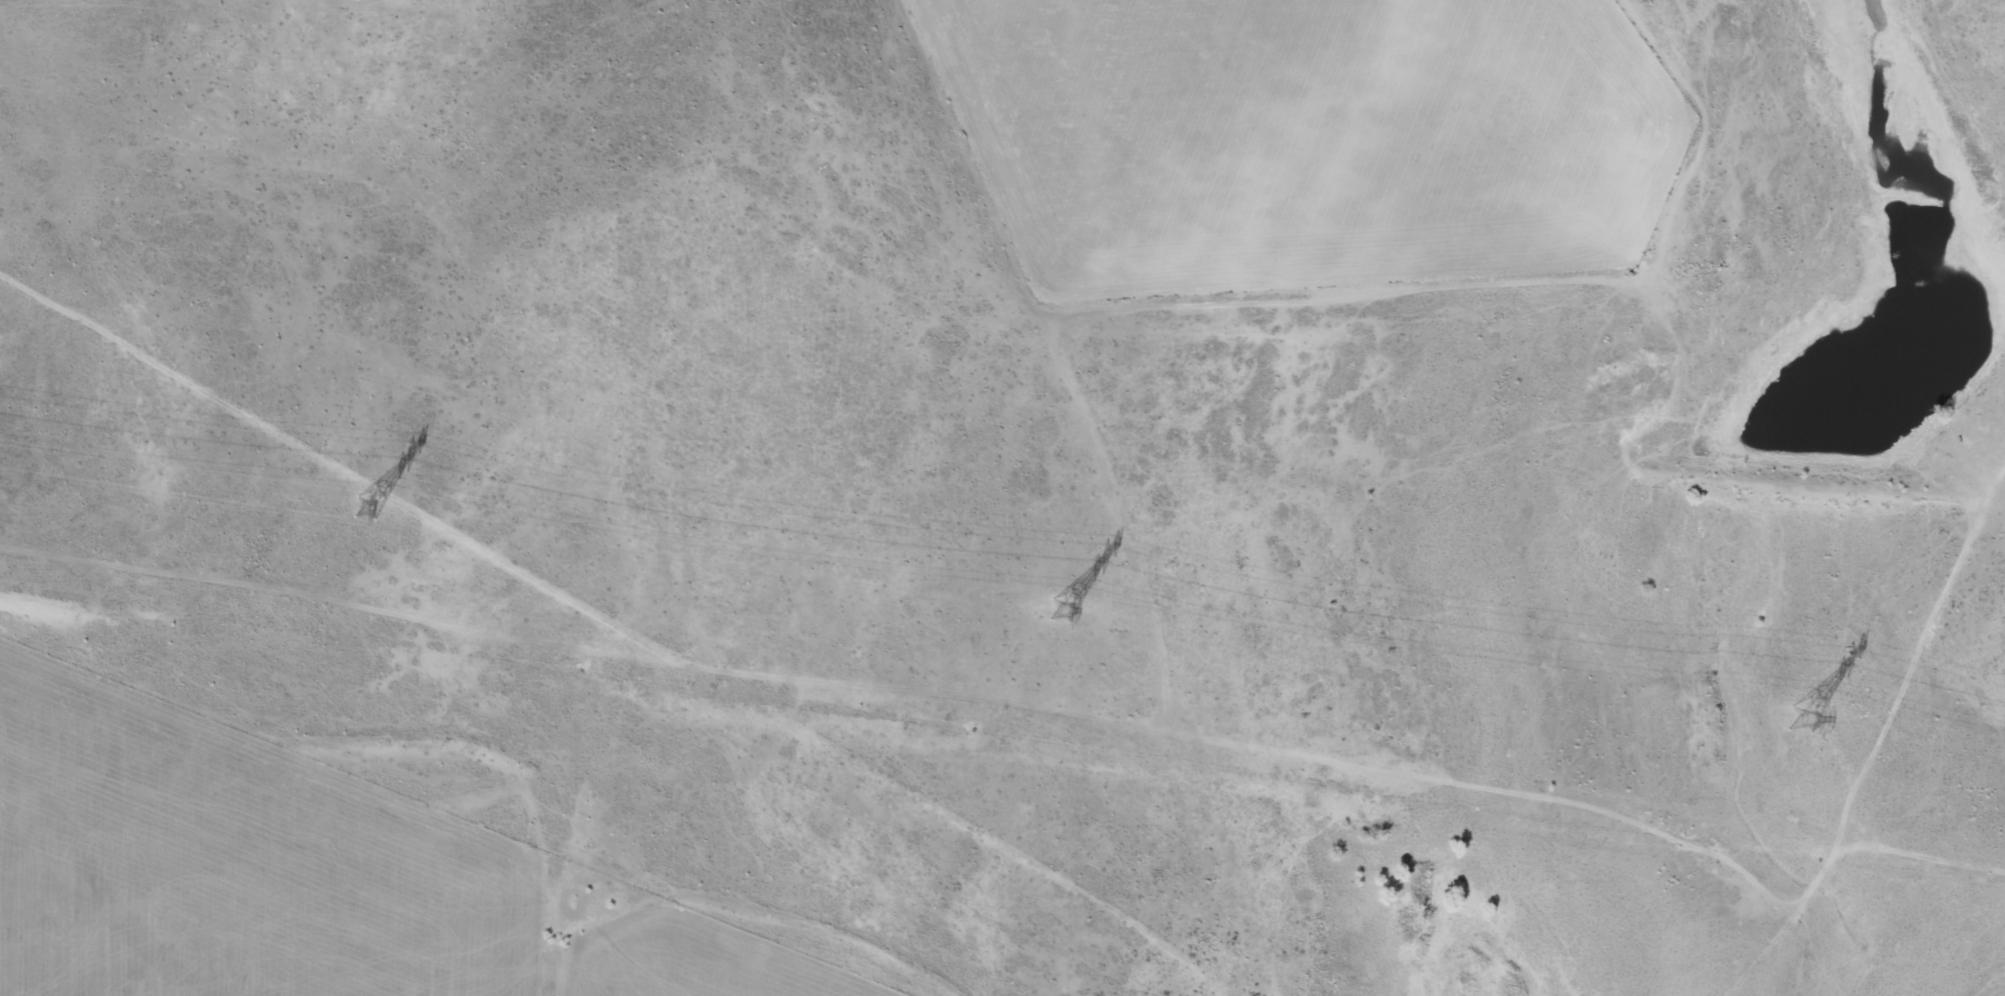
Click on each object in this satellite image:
power tower: (364, 508)
power tower: (1060, 610)
power tower: (1799, 721)

